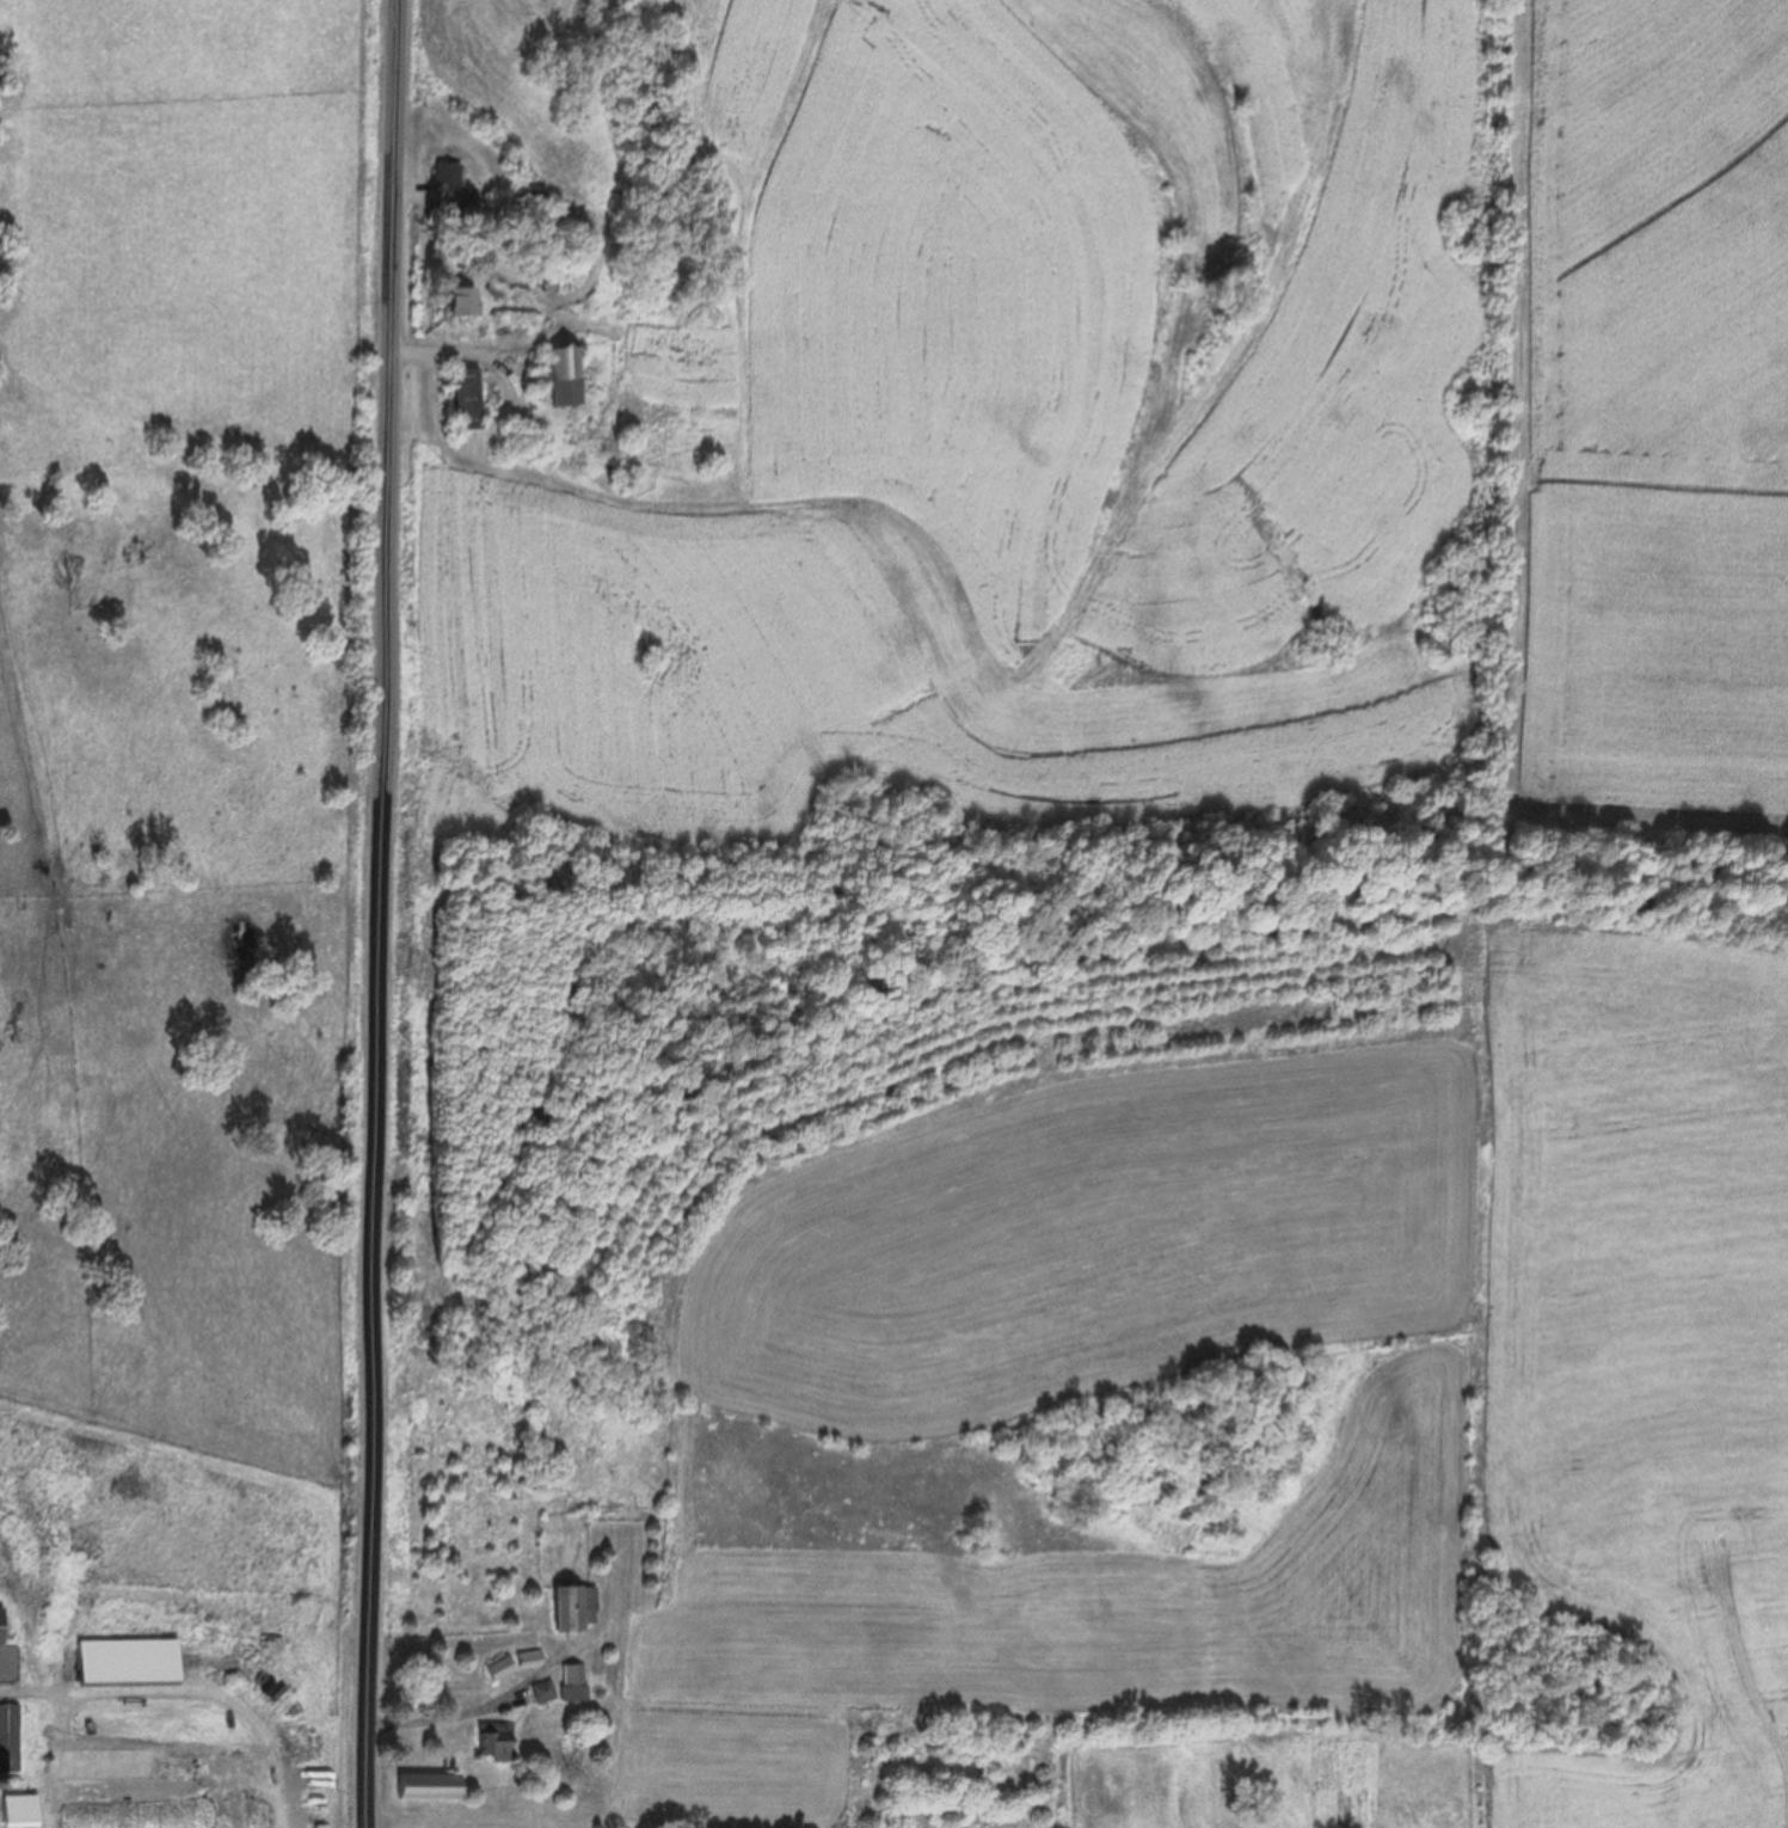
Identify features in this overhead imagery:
building: (444, 172)
building: (456, 299)
road: (446, 350)
building: (560, 374)
building: (463, 397)
road: (375, 913)
building: (571, 1605)
building: (528, 1656)
building: (497, 1667)
building: (571, 1680)
building: (540, 1691)
building: (7, 1735)
building: (490, 1738)
building: (423, 1784)

